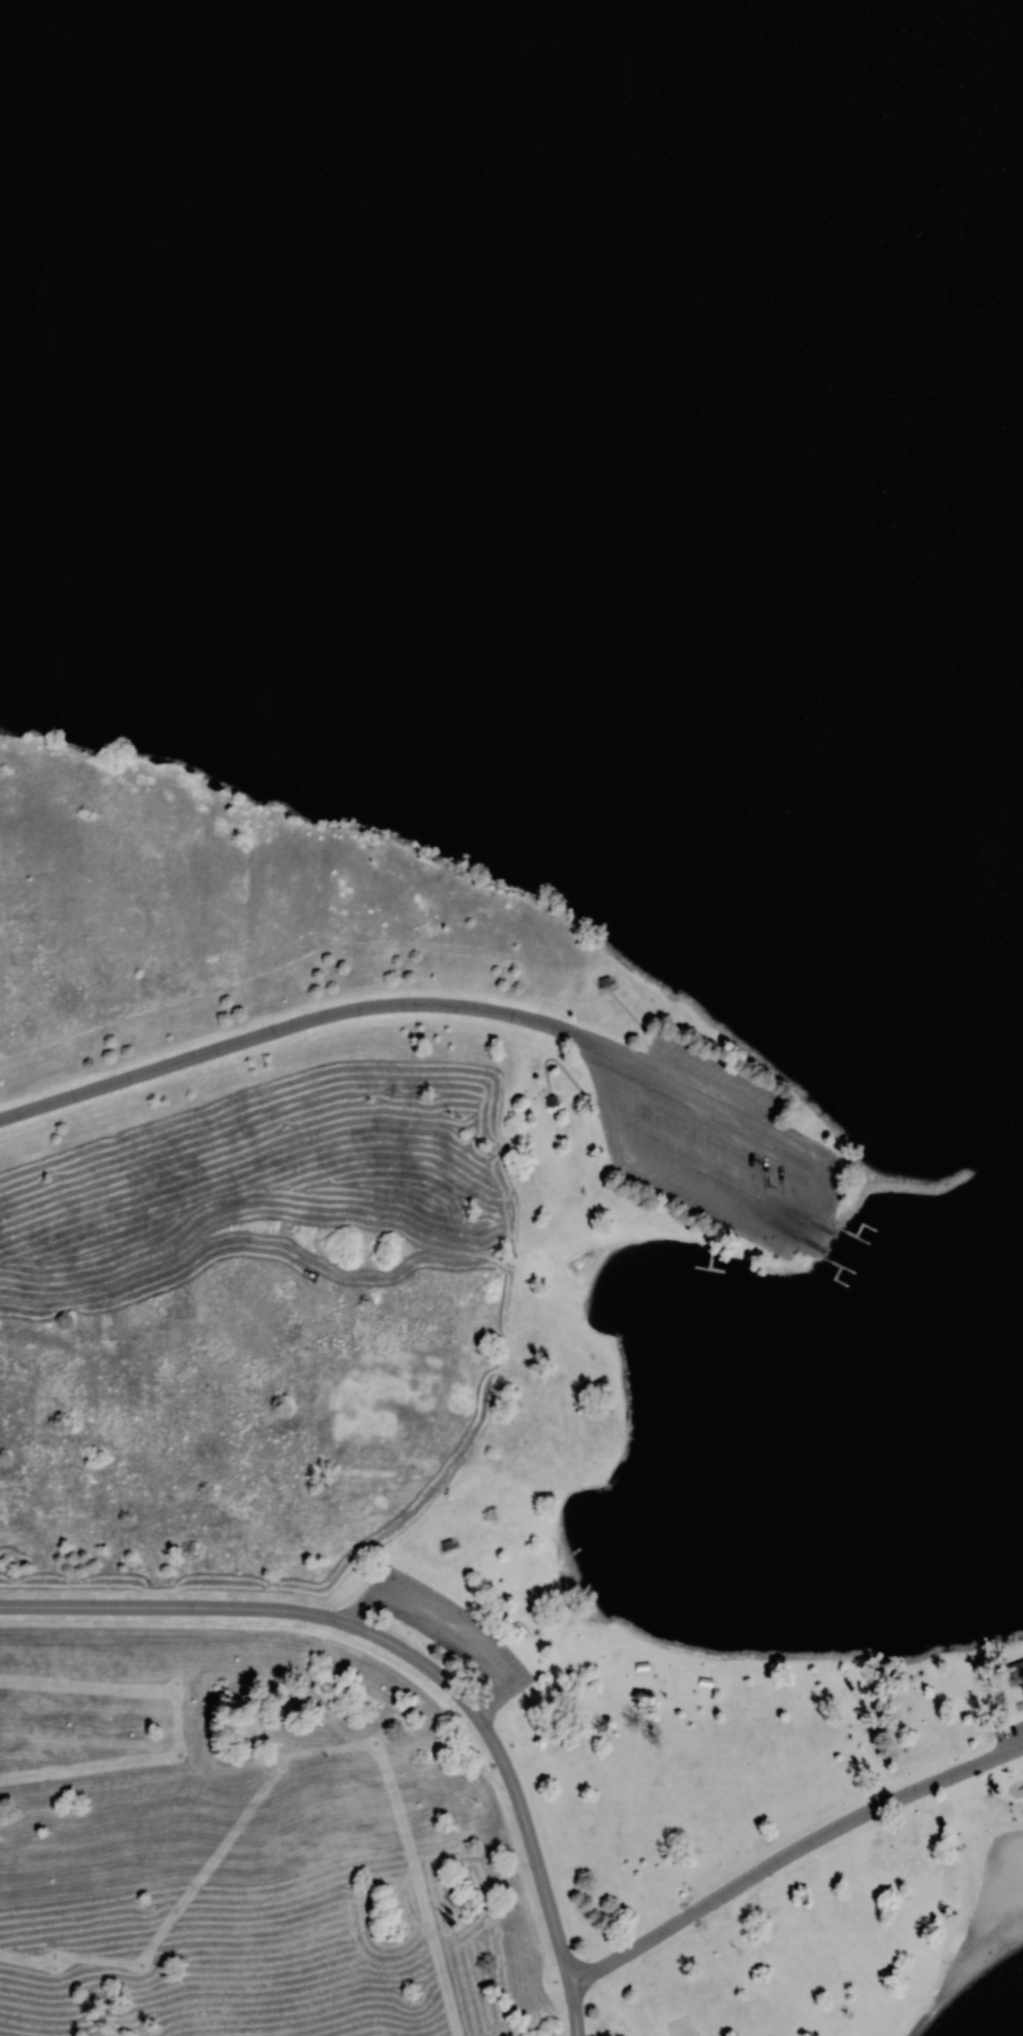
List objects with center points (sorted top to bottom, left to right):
park: (511, 1018)
road: (294, 1025)
road: (607, 1092)
road: (823, 1241)
road: (173, 1607)
road: (418, 1661)
road: (416, 1665)
building: (1016, 1671)
road: (497, 1756)
road: (519, 1801)
road: (791, 1853)
road: (967, 1908)

